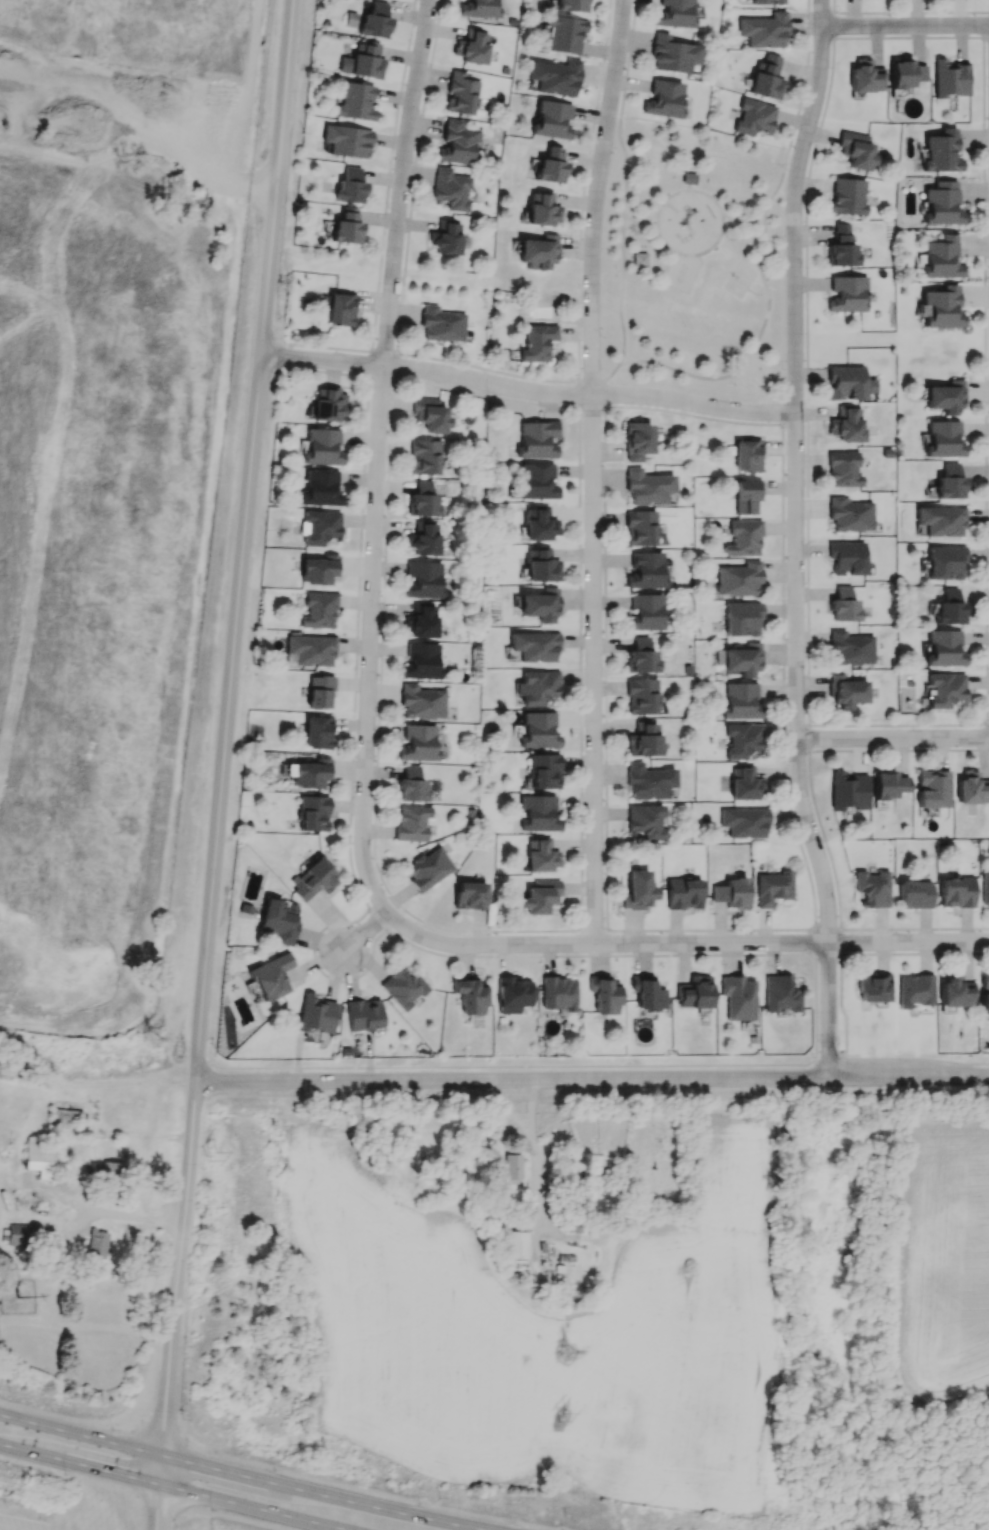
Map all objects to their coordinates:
building: (767, 1)
building: (571, 5)
building: (479, 8)
building: (674, 13)
building: (375, 21)
road: (906, 29)
building: (764, 30)
building: (564, 34)
building: (472, 46)
building: (672, 54)
building: (363, 61)
building: (905, 73)
building: (865, 76)
building: (555, 77)
building: (767, 77)
building: (949, 78)
building: (460, 93)
building: (663, 99)
building: (356, 102)
building: (754, 117)
building: (552, 119)
building: (346, 140)
building: (458, 143)
building: (856, 150)
building: (942, 151)
road: (172, 163)
building: (550, 166)
road: (276, 178)
building: (688, 178)
building: (350, 186)
road: (688, 186)
building: (450, 188)
building: (847, 196)
road: (623, 201)
building: (941, 204)
building: (541, 210)
road: (743, 220)
road: (639, 221)
road: (728, 224)
road: (628, 225)
road: (651, 225)
building: (346, 227)
road: (759, 227)
building: (446, 237)
building: (842, 247)
building: (538, 252)
road: (686, 253)
building: (942, 258)
road: (628, 259)
building: (640, 259)
park: (694, 263)
park: (740, 279)
road: (765, 283)
road: (756, 292)
building: (847, 294)
building: (941, 307)
building: (340, 309)
building: (442, 324)
building: (537, 342)
road: (624, 362)
road: (687, 373)
building: (848, 382)
road: (527, 388)
building: (945, 397)
building: (328, 404)
building: (431, 415)
building: (846, 425)
building: (536, 439)
building: (943, 439)
building: (637, 440)
building: (323, 447)
road: (252, 449)
building: (747, 455)
building: (425, 456)
road: (379, 459)
road: (592, 469)
building: (843, 469)
building: (537, 481)
building: (949, 482)
building: (648, 487)
building: (320, 488)
building: (746, 495)
building: (422, 499)
building: (850, 514)
building: (940, 520)
building: (539, 525)
building: (321, 527)
building: (640, 527)
road: (797, 537)
building: (744, 538)
building: (423, 539)
building: (847, 557)
building: (945, 562)
building: (541, 566)
building: (319, 569)
building: (646, 570)
building: (739, 578)
building: (424, 579)
building: (541, 604)
building: (844, 605)
building: (949, 608)
building: (319, 610)
building: (645, 612)
building: (742, 619)
building: (421, 621)
building: (534, 646)
building: (851, 648)
building: (944, 648)
building: (311, 649)
building: (640, 656)
building: (743, 659)
building: (421, 661)
building: (538, 687)
building: (945, 689)
building: (319, 691)
building: (847, 691)
building: (641, 696)
building: (742, 701)
building: (422, 702)
road: (226, 716)
building: (538, 730)
building: (317, 731)
building: (643, 739)
building: (743, 739)
road: (893, 741)
building: (419, 743)
building: (544, 771)
building: (309, 772)
building: (649, 782)
building: (745, 783)
building: (411, 784)
building: (888, 785)
building: (933, 788)
building: (971, 789)
building: (848, 791)
building: (313, 813)
building: (539, 813)
building: (646, 821)
building: (412, 822)
building: (744, 822)
building: (541, 856)
building: (429, 868)
building: (314, 879)
building: (773, 887)
building: (872, 888)
building: (985, 889)
building: (638, 890)
building: (957, 892)
building: (684, 893)
building: (731, 893)
building: (915, 894)
building: (470, 895)
building: (541, 896)
building: (279, 920)
road: (362, 938)
road: (684, 943)
building: (270, 976)
road: (202, 986)
building: (403, 987)
building: (873, 988)
building: (915, 990)
building: (694, 992)
building: (954, 992)
building: (984, 992)
building: (559, 993)
building: (647, 993)
building: (780, 993)
building: (513, 994)
building: (604, 995)
building: (470, 996)
building: (738, 997)
building: (315, 1014)
building: (363, 1014)
power tower: (147, 1038)
road: (297, 1054)
road: (588, 1064)
road: (591, 1077)
power tower: (207, 1152)
building: (39, 1157)
road: (535, 1158)
building: (511, 1168)
building: (111, 1171)
road: (136, 1215)
road: (45, 1218)
building: (17, 1235)
building: (97, 1243)
building: (516, 1244)
crop: (940, 1255)
road: (176, 1282)
road: (93, 1328)
power tower: (559, 1357)
power tower: (556, 1418)
road: (80, 1434)
road: (79, 1464)
road: (321, 1496)
road: (155, 1506)
road: (250, 1507)

